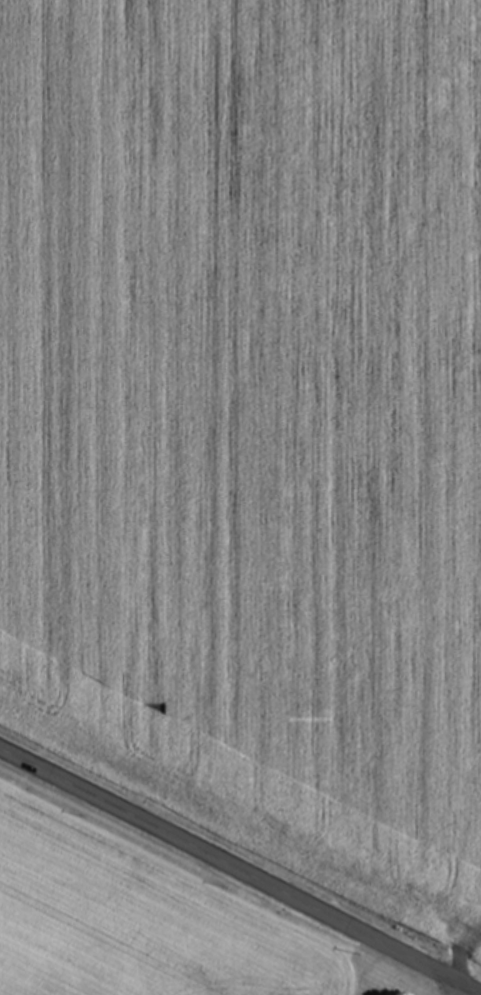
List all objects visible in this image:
road: (233, 876)

